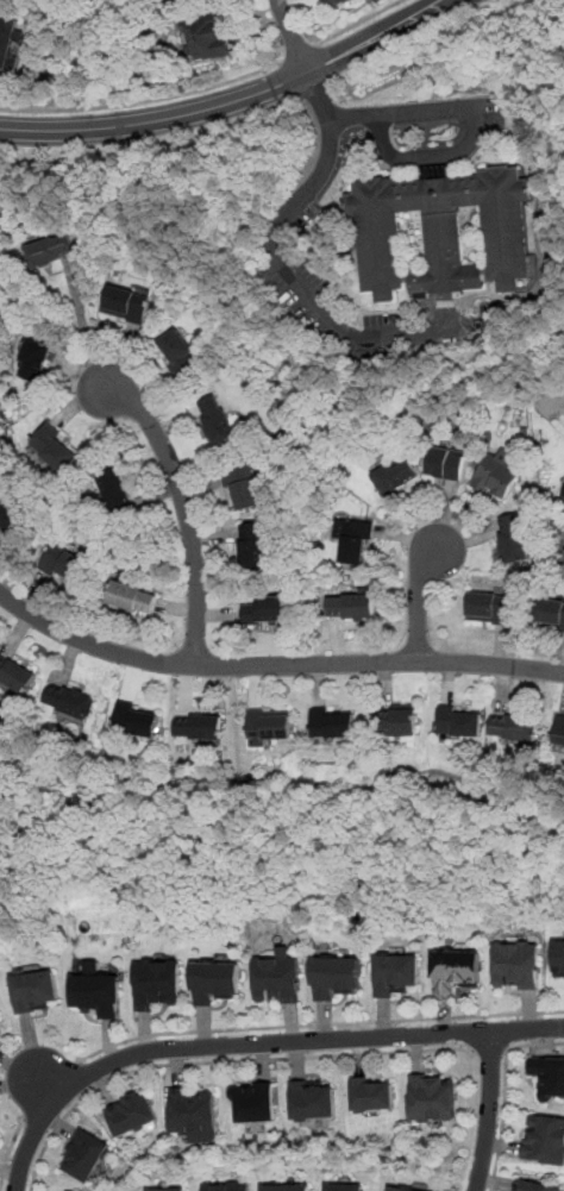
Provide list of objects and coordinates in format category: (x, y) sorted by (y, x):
building: (336, 2)
road: (359, 21)
road: (292, 36)
building: (207, 37)
road: (375, 37)
building: (7, 38)
road: (299, 52)
road: (143, 100)
road: (405, 113)
road: (156, 121)
road: (332, 132)
road: (428, 155)
building: (441, 228)
building: (51, 250)
building: (127, 305)
road: (326, 315)
road: (83, 330)
building: (181, 352)
building: (32, 359)
building: (218, 419)
building: (55, 449)
building: (446, 464)
building: (395, 475)
building: (499, 476)
building: (242, 485)
building: (113, 487)
road: (186, 509)
building: (10, 515)
building: (513, 537)
building: (355, 541)
building: (252, 545)
building: (65, 562)
building: (131, 598)
road: (418, 600)
building: (351, 607)
building: (489, 607)
building: (267, 610)
building: (549, 610)
road: (274, 665)
building: (17, 675)
building: (69, 702)
building: (136, 720)
building: (400, 720)
building: (459, 720)
building: (331, 722)
building: (267, 725)
building: (199, 726)
building: (513, 726)
building: (559, 733)
building: (559, 955)
building: (516, 965)
building: (93, 966)
building: (455, 967)
building: (397, 973)
building: (334, 974)
building: (277, 978)
building: (215, 979)
building: (157, 982)
building: (36, 989)
building: (99, 993)
building: (1, 1016)
road: (317, 1023)
road: (252, 1043)
road: (489, 1052)
road: (220, 1061)
building: (549, 1074)
road: (505, 1092)
road: (49, 1093)
building: (372, 1093)
building: (432, 1097)
building: (313, 1098)
building: (253, 1101)
building: (192, 1109)
road: (488, 1111)
building: (131, 1112)
building: (544, 1139)
road: (8, 1151)
building: (84, 1154)
building: (226, 1185)
building: (534, 1185)
building: (286, 1186)
building: (345, 1186)
building: (164, 1189)
building: (405, 1189)

